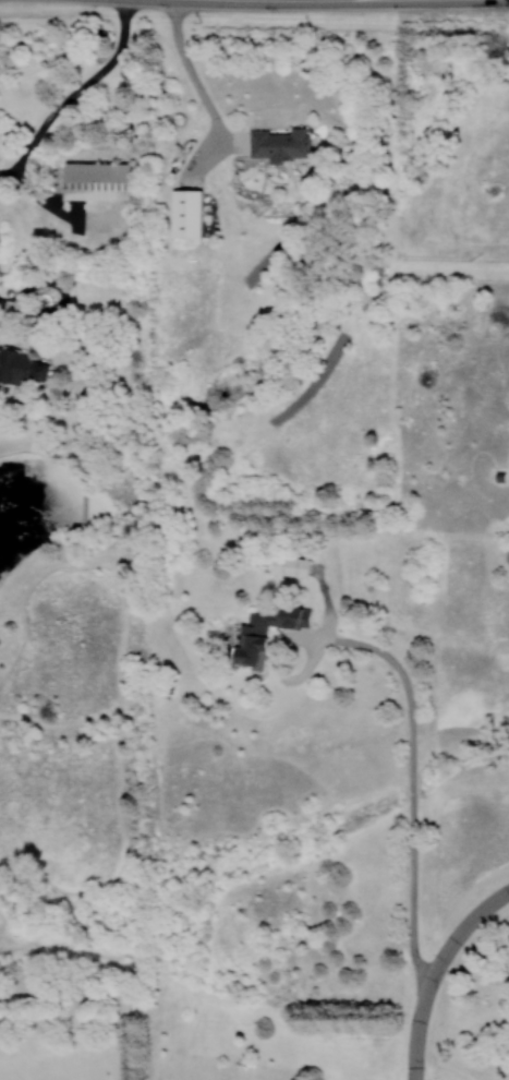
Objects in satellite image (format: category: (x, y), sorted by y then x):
road: (199, 85)
road: (76, 95)
building: (280, 144)
building: (98, 181)
building: (186, 213)
road: (452, 269)
road: (24, 302)
building: (21, 368)
building: (291, 565)
building: (266, 633)
road: (415, 766)
road: (449, 946)
road: (417, 1049)

